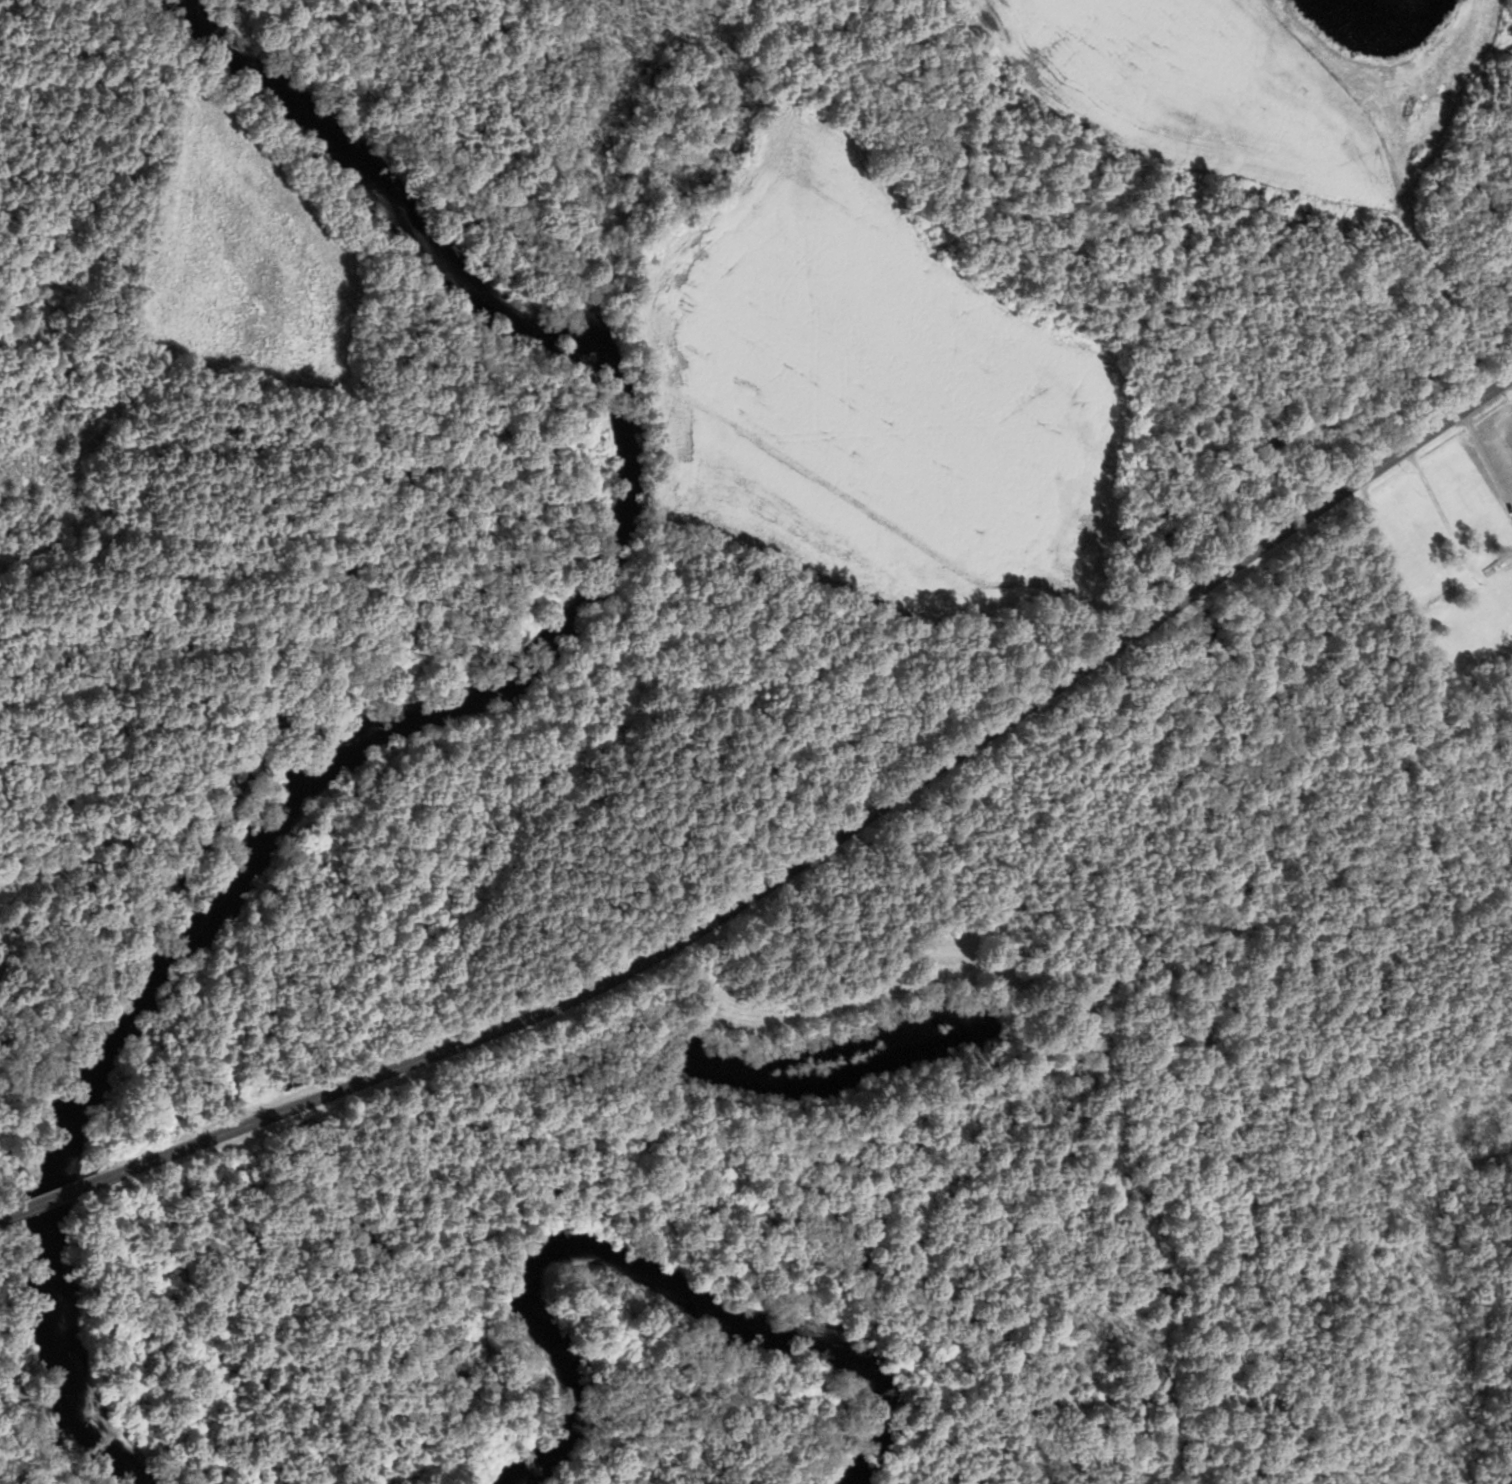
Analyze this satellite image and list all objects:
building: (1497, 562)
building: (1439, 597)
river: (438, 707)
road: (836, 837)
road: (51, 1198)
road: (0, 1218)
river: (681, 1288)

